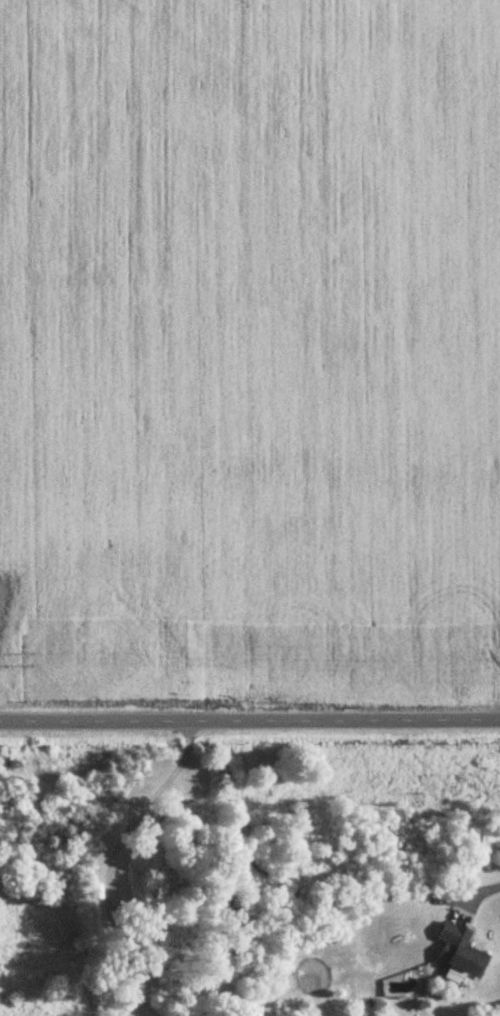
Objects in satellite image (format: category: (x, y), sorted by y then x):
road: (250, 718)
road: (112, 861)
road: (493, 883)
building: (459, 951)

